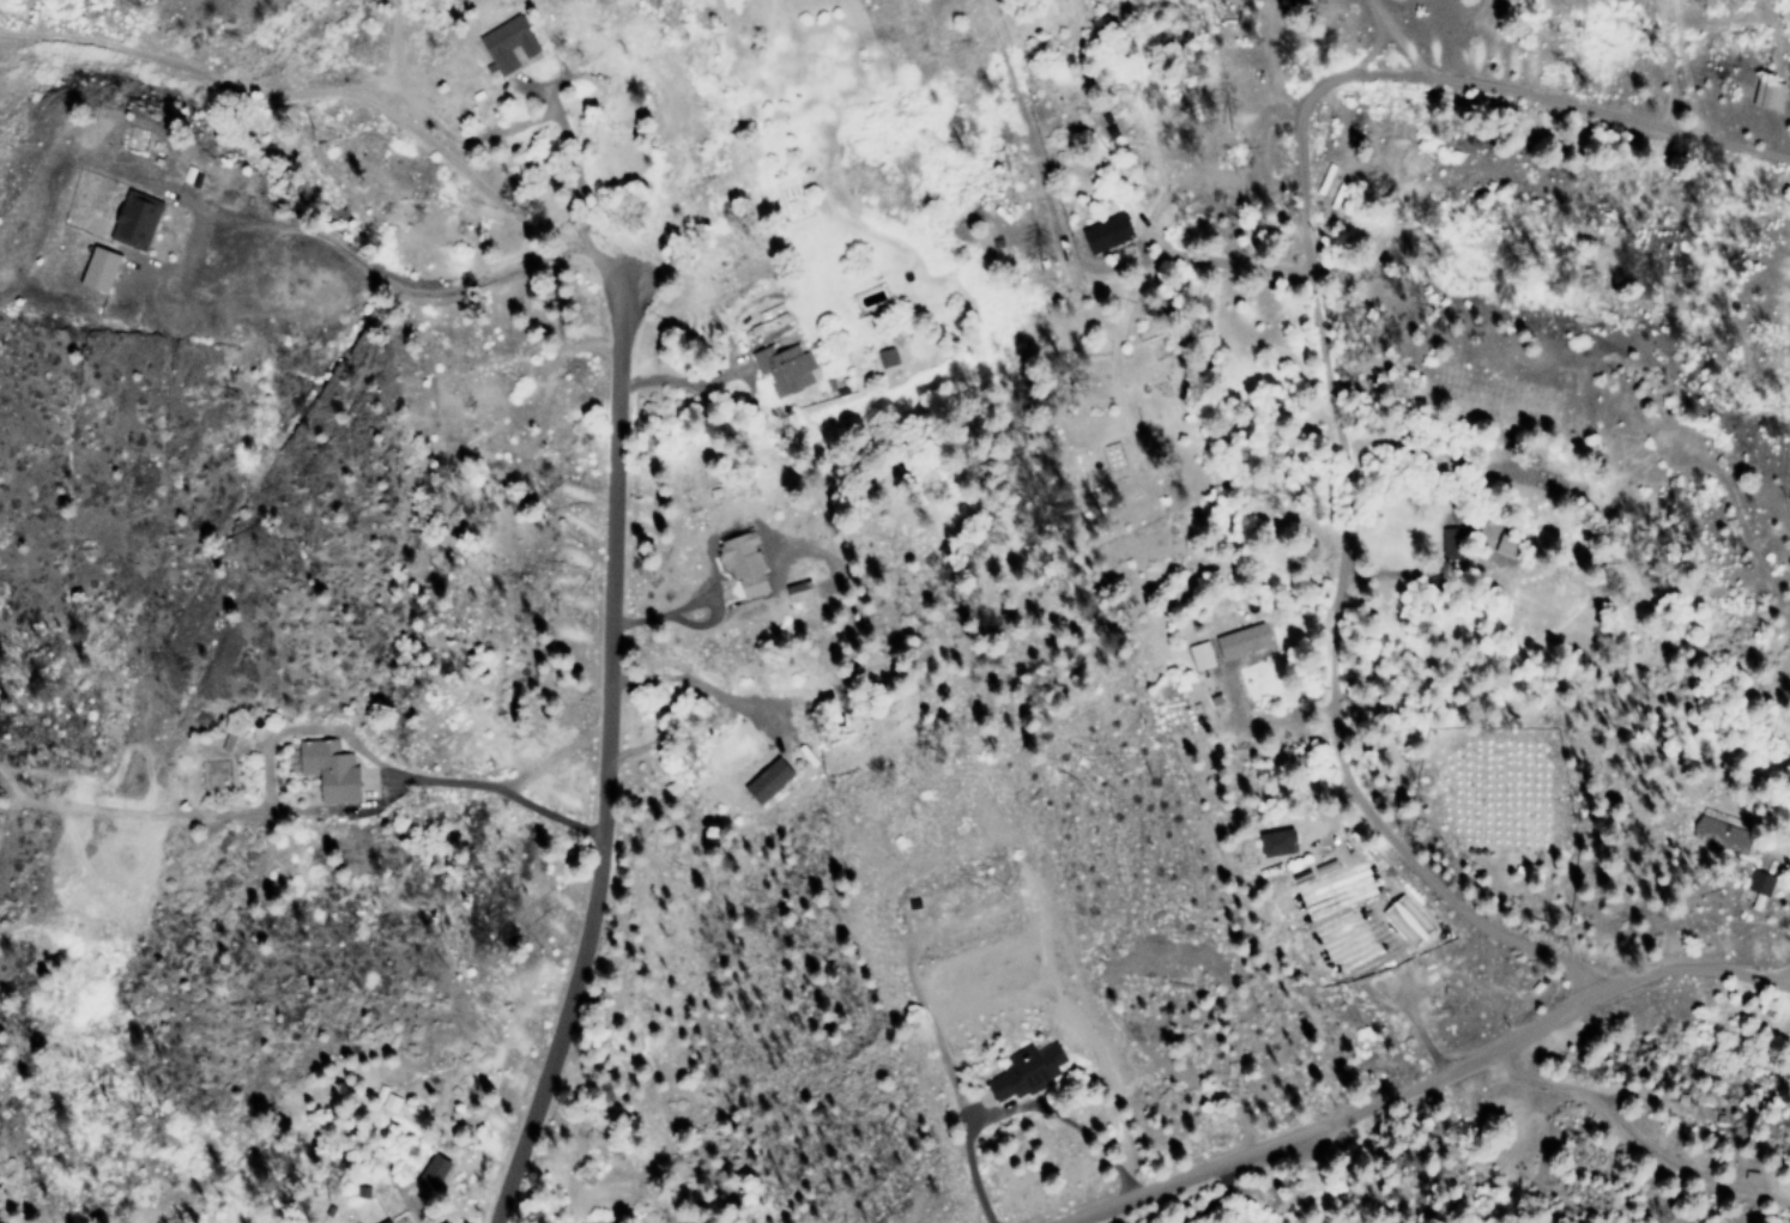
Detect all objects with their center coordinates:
building: (509, 44)
road: (316, 92)
building: (1773, 98)
road: (574, 181)
building: (137, 220)
building: (1108, 234)
building: (102, 271)
road: (1322, 356)
building: (888, 358)
building: (786, 369)
building: (738, 563)
building: (1238, 640)
building: (1197, 655)
road: (731, 700)
road: (337, 733)
road: (552, 755)
road: (604, 761)
building: (323, 769)
building: (763, 780)
building: (1703, 833)
building: (1756, 883)
building: (1404, 920)
road: (1682, 965)
road: (1776, 975)
building: (1021, 1068)
road: (1456, 1068)
building: (427, 1173)
road: (1193, 1173)
building: (382, 1222)

